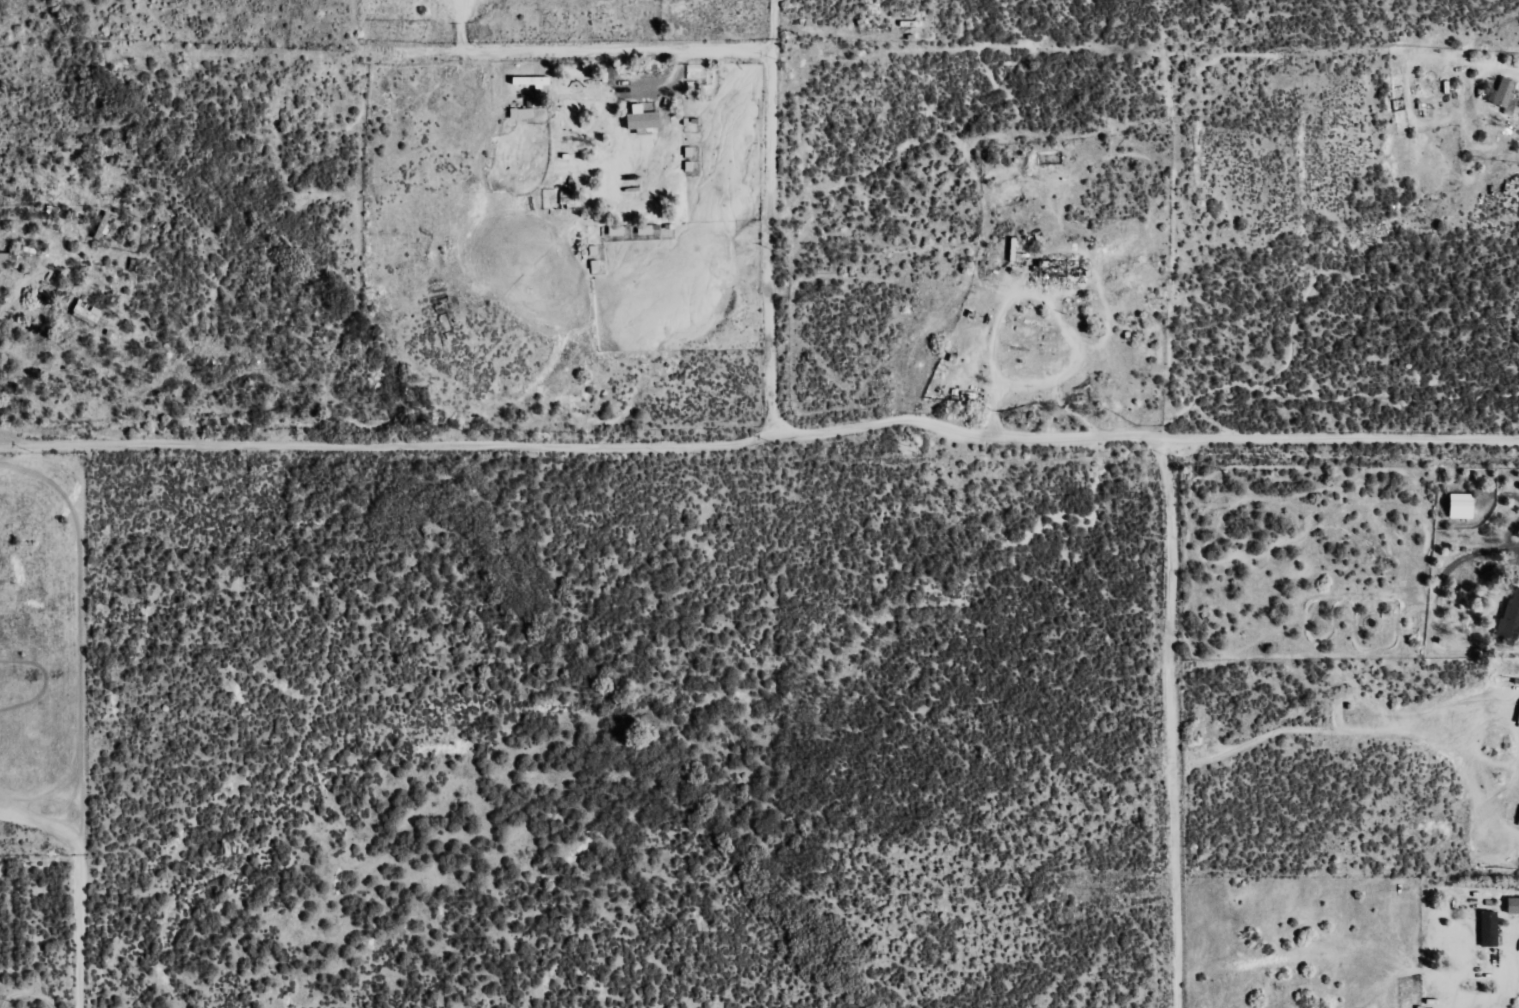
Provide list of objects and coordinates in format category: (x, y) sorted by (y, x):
road: (565, 54)
building: (533, 81)
building: (1504, 93)
building: (522, 113)
building: (643, 118)
building: (569, 195)
road: (774, 223)
building: (617, 231)
building: (1064, 268)
building: (87, 312)
road: (761, 441)
building: (1463, 506)
building: (1512, 615)
building: (1518, 825)
building: (1514, 905)
building: (1490, 929)

